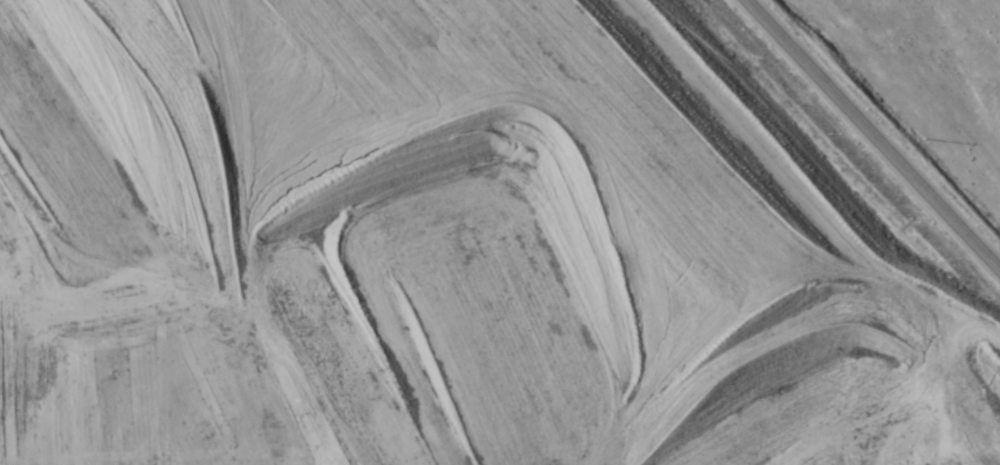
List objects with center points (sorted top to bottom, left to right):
road: (879, 129)
road: (134, 272)

